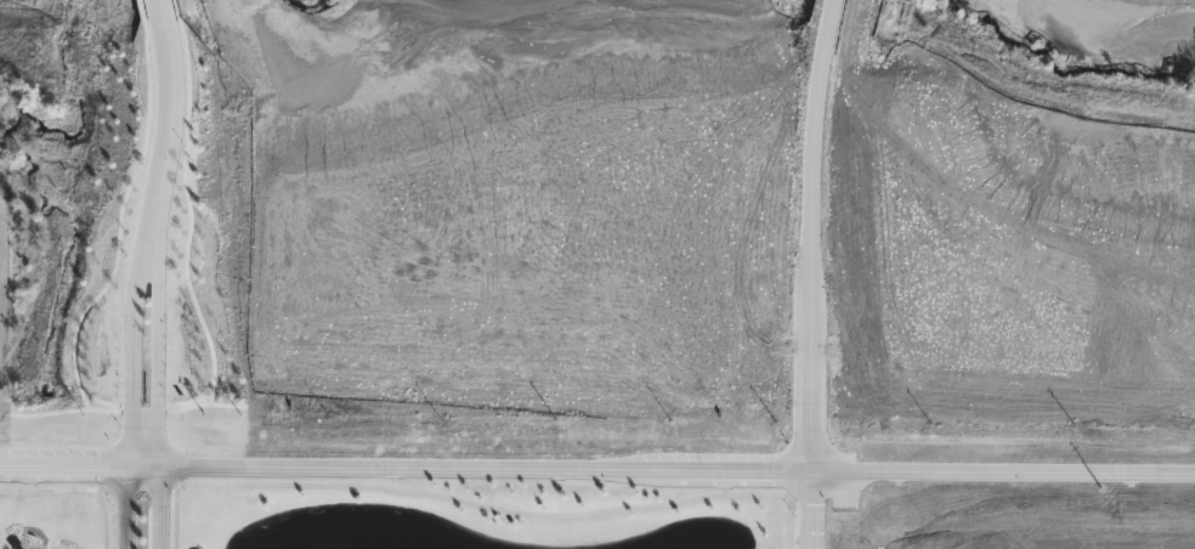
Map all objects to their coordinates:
road: (169, 130)
road: (811, 231)
road: (143, 419)
road: (143, 443)
road: (597, 465)
road: (806, 506)
road: (125, 508)
road: (159, 508)

